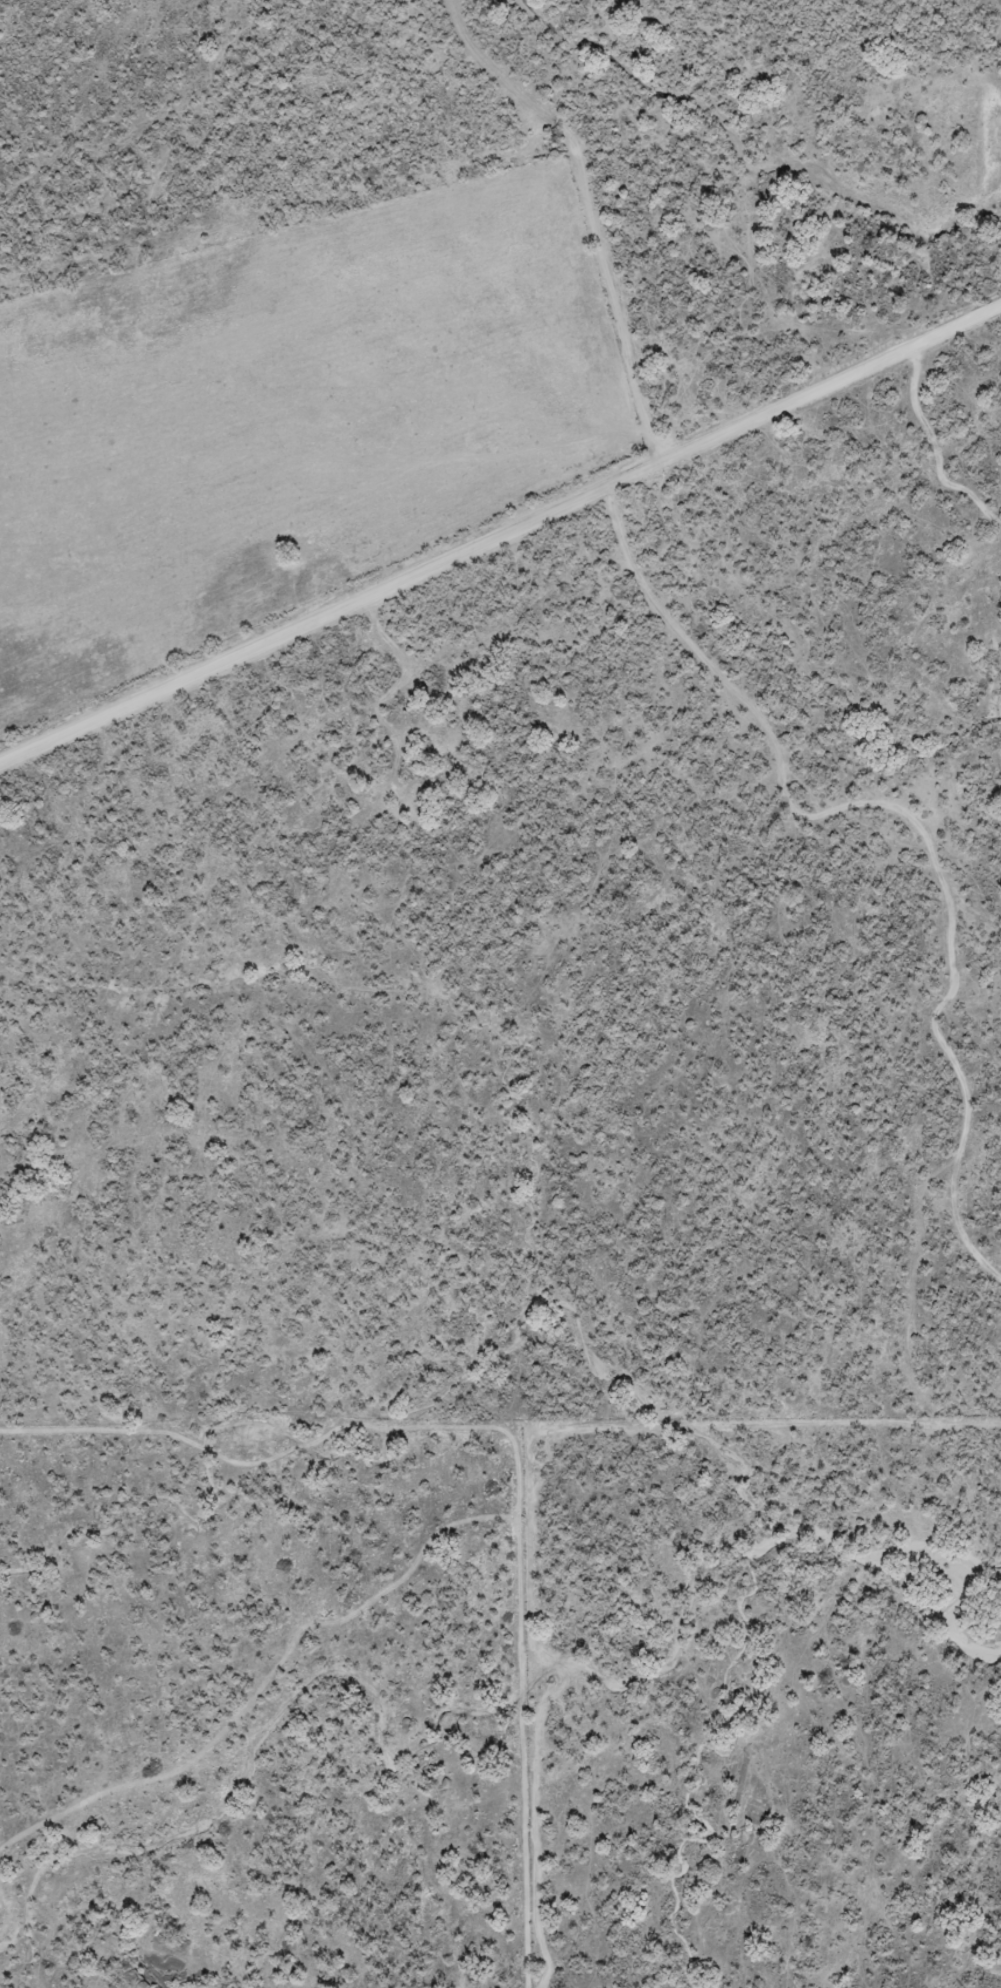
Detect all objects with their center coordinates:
road: (500, 534)

